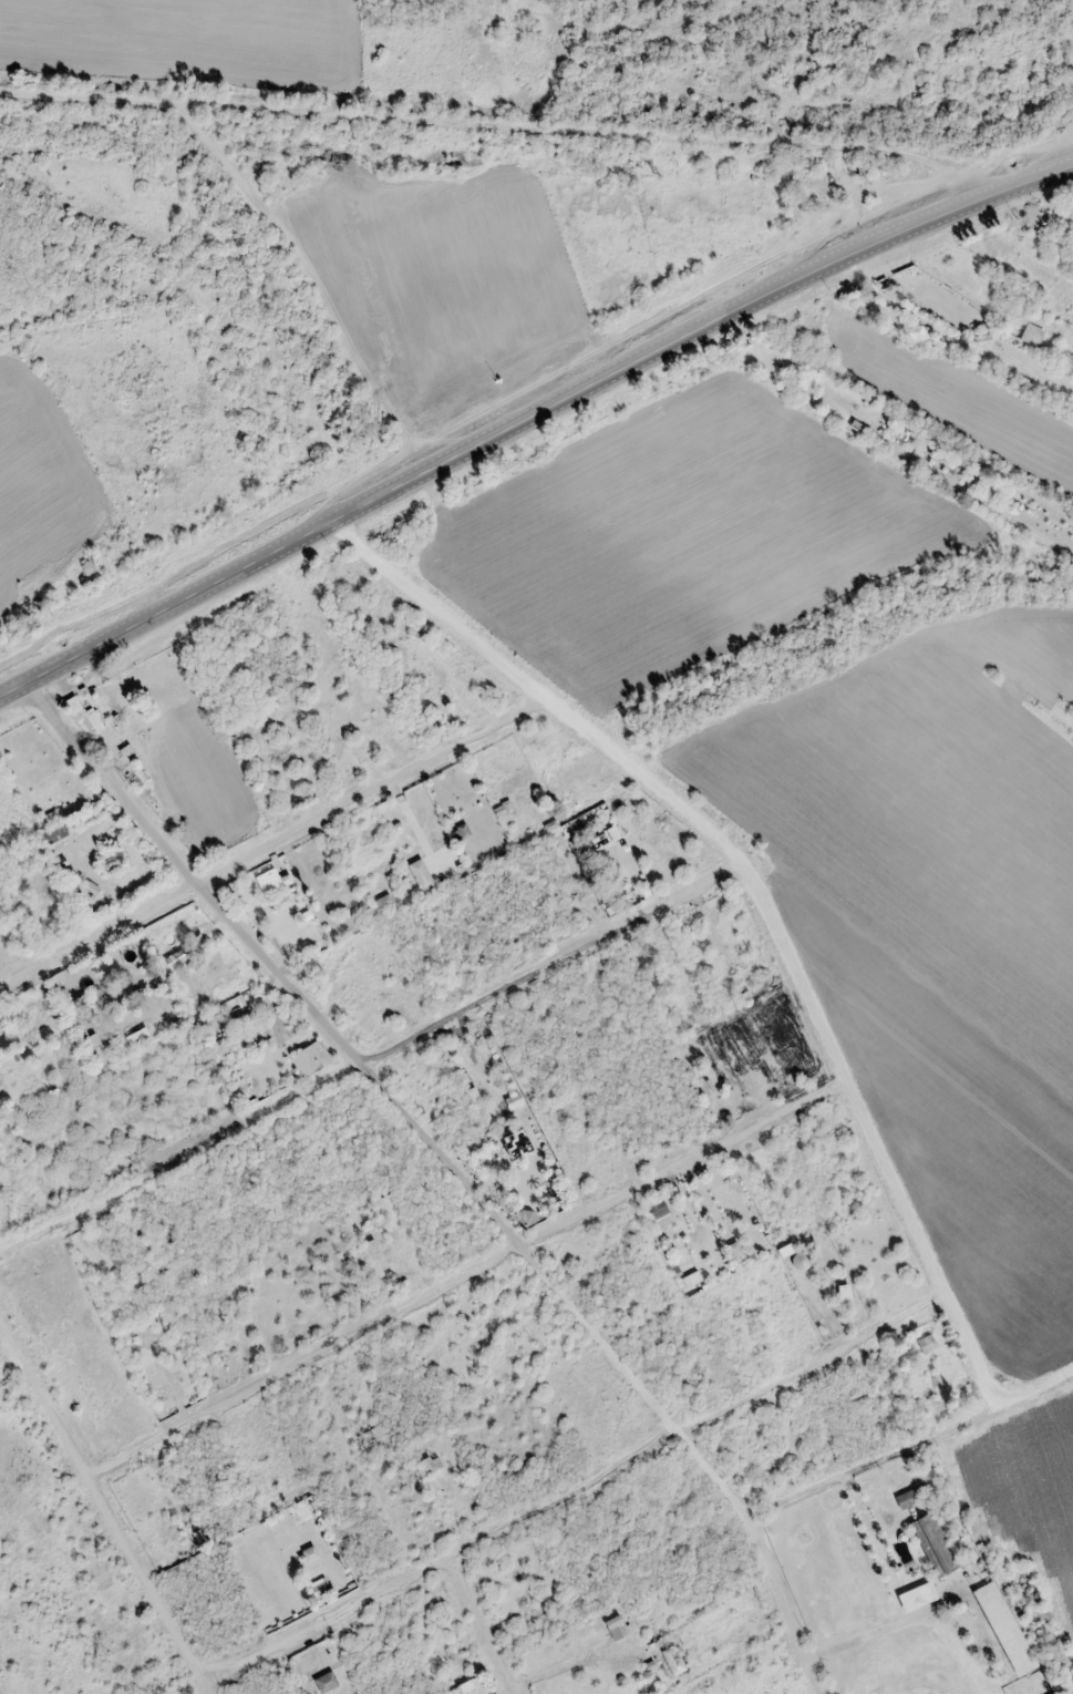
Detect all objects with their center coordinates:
road: (513, 425)
road: (460, 1164)
road: (109, 1500)

